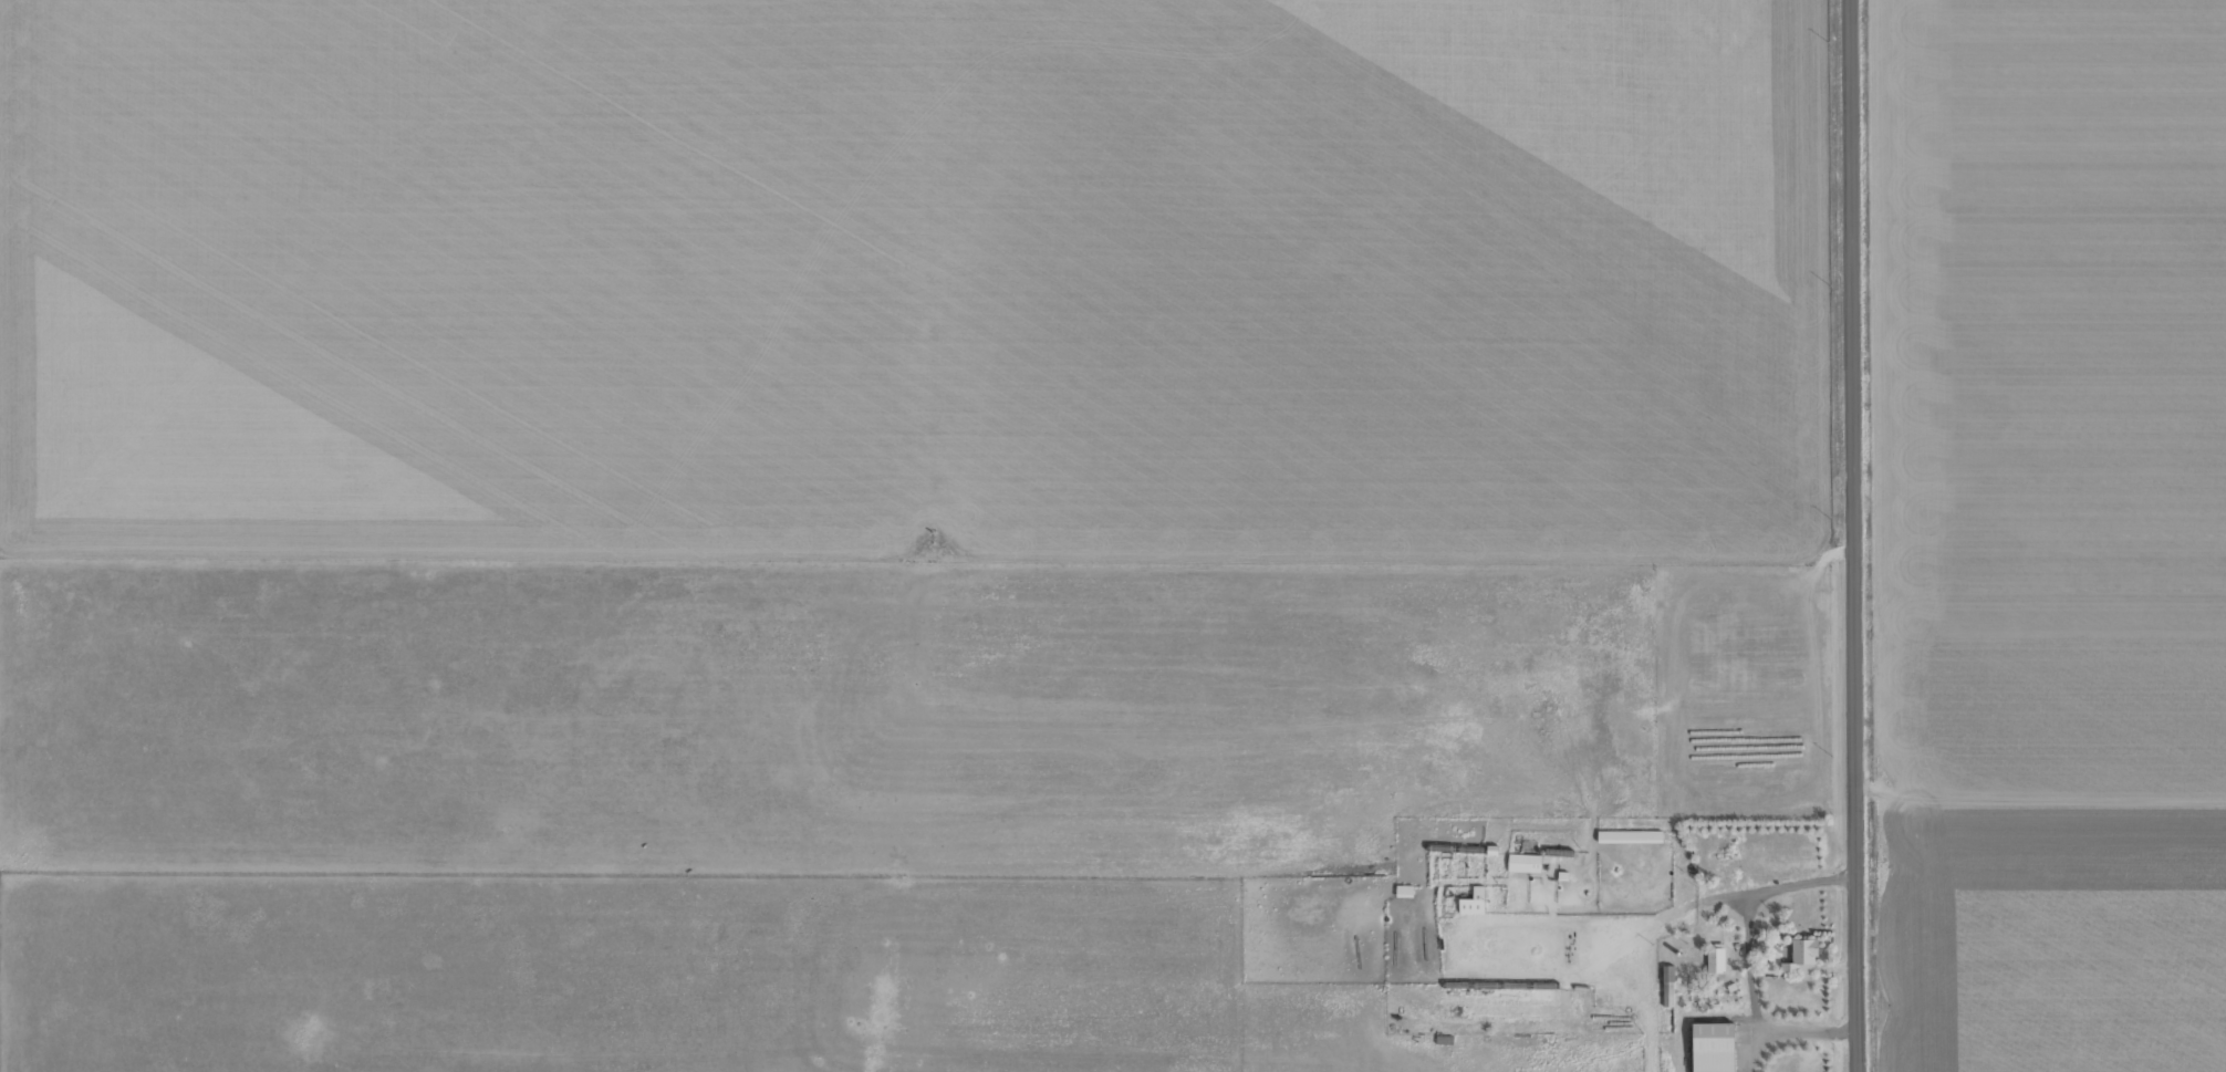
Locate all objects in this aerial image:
road: (1853, 535)
building: (1635, 837)
building: (1529, 863)

